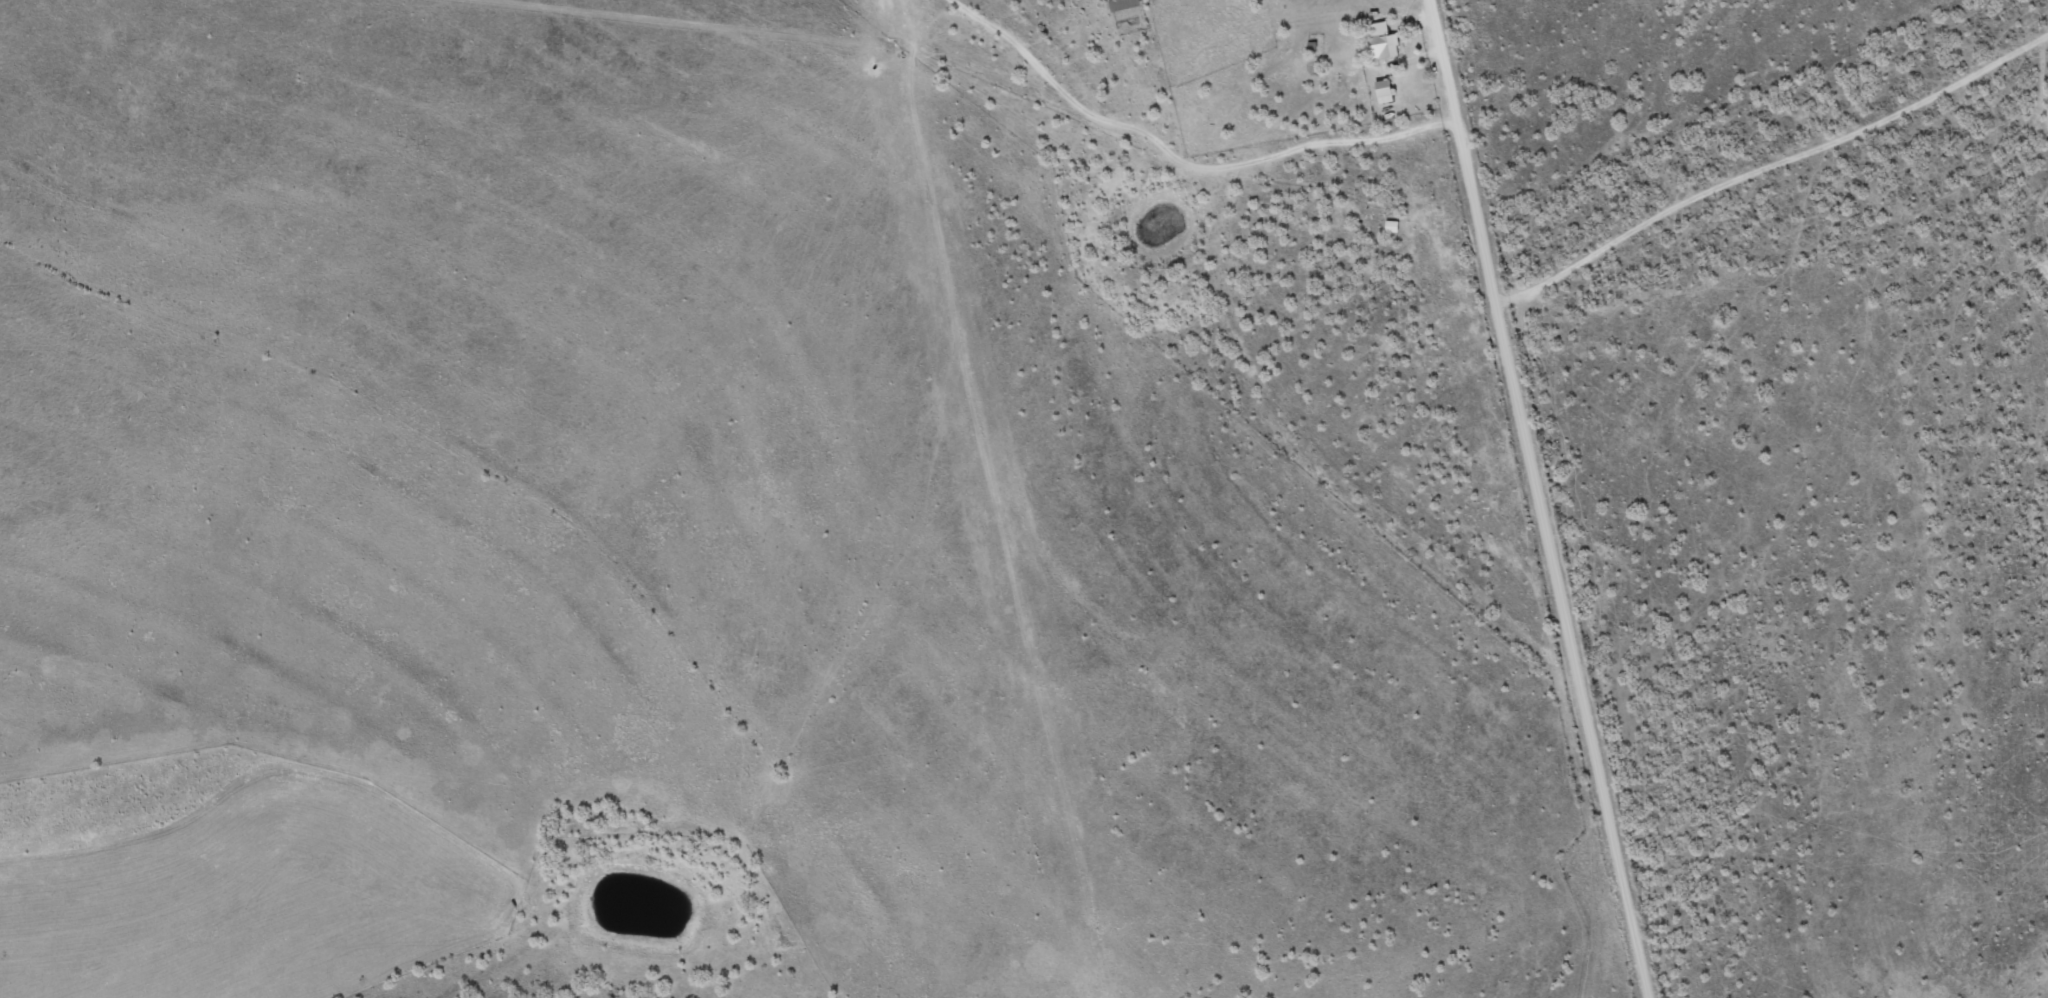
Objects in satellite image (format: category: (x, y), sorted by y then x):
building: (1123, 5)
building: (1383, 43)
building: (1384, 93)
road: (1779, 186)
building: (1392, 225)
road: (1532, 502)

